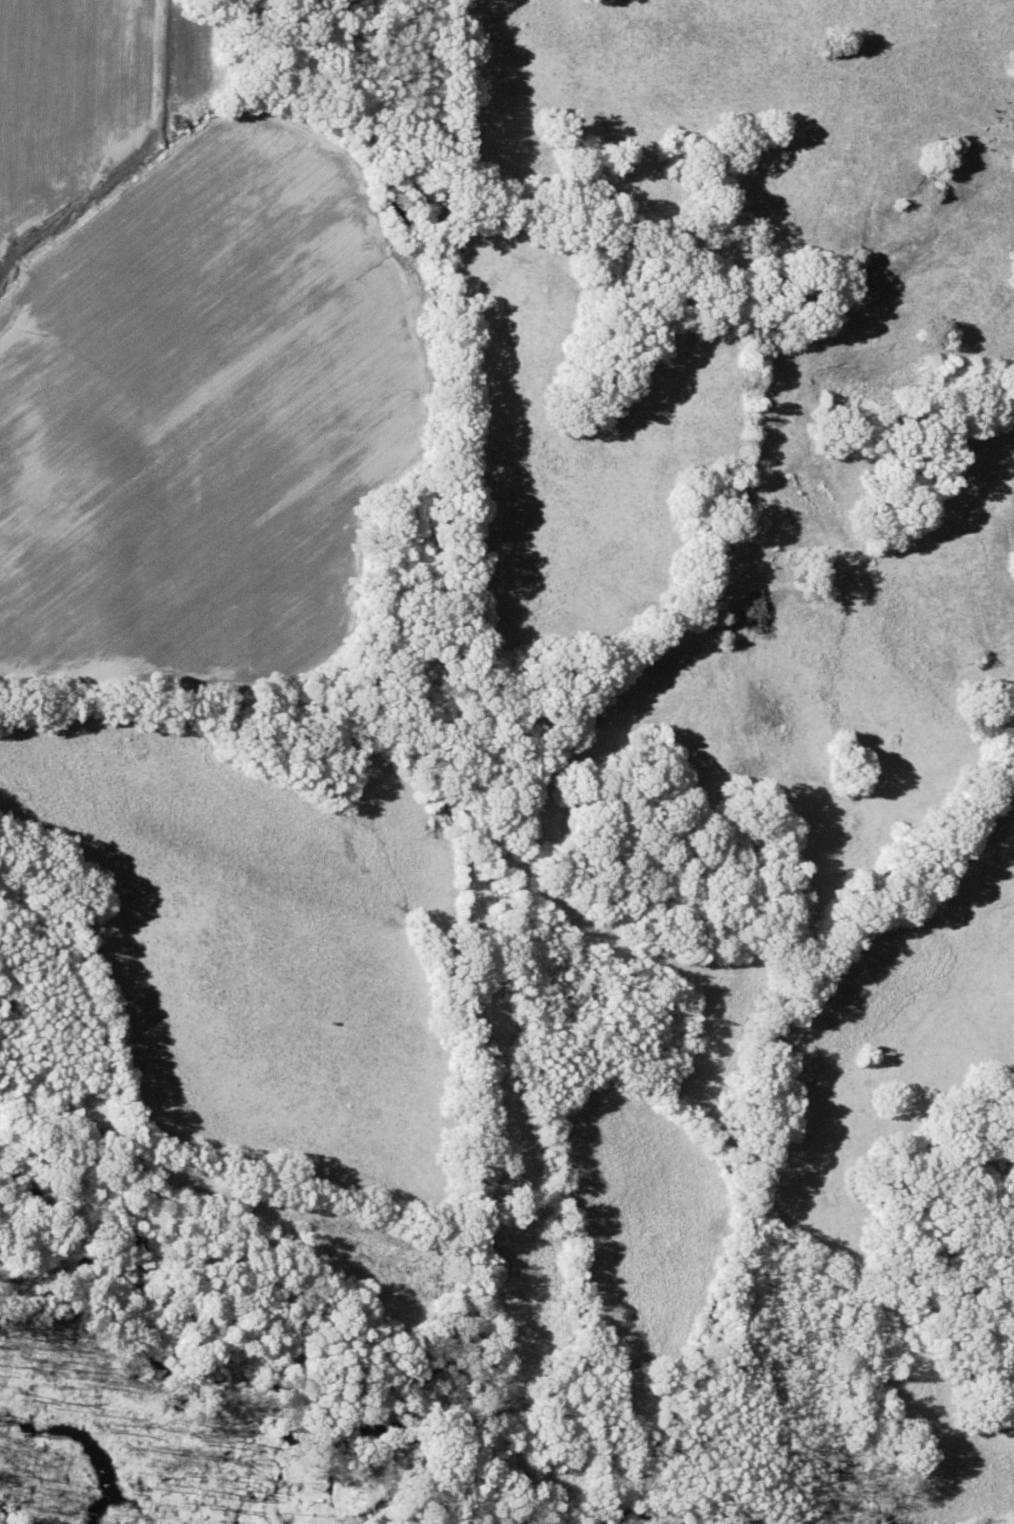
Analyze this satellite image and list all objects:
road: (734, 460)

